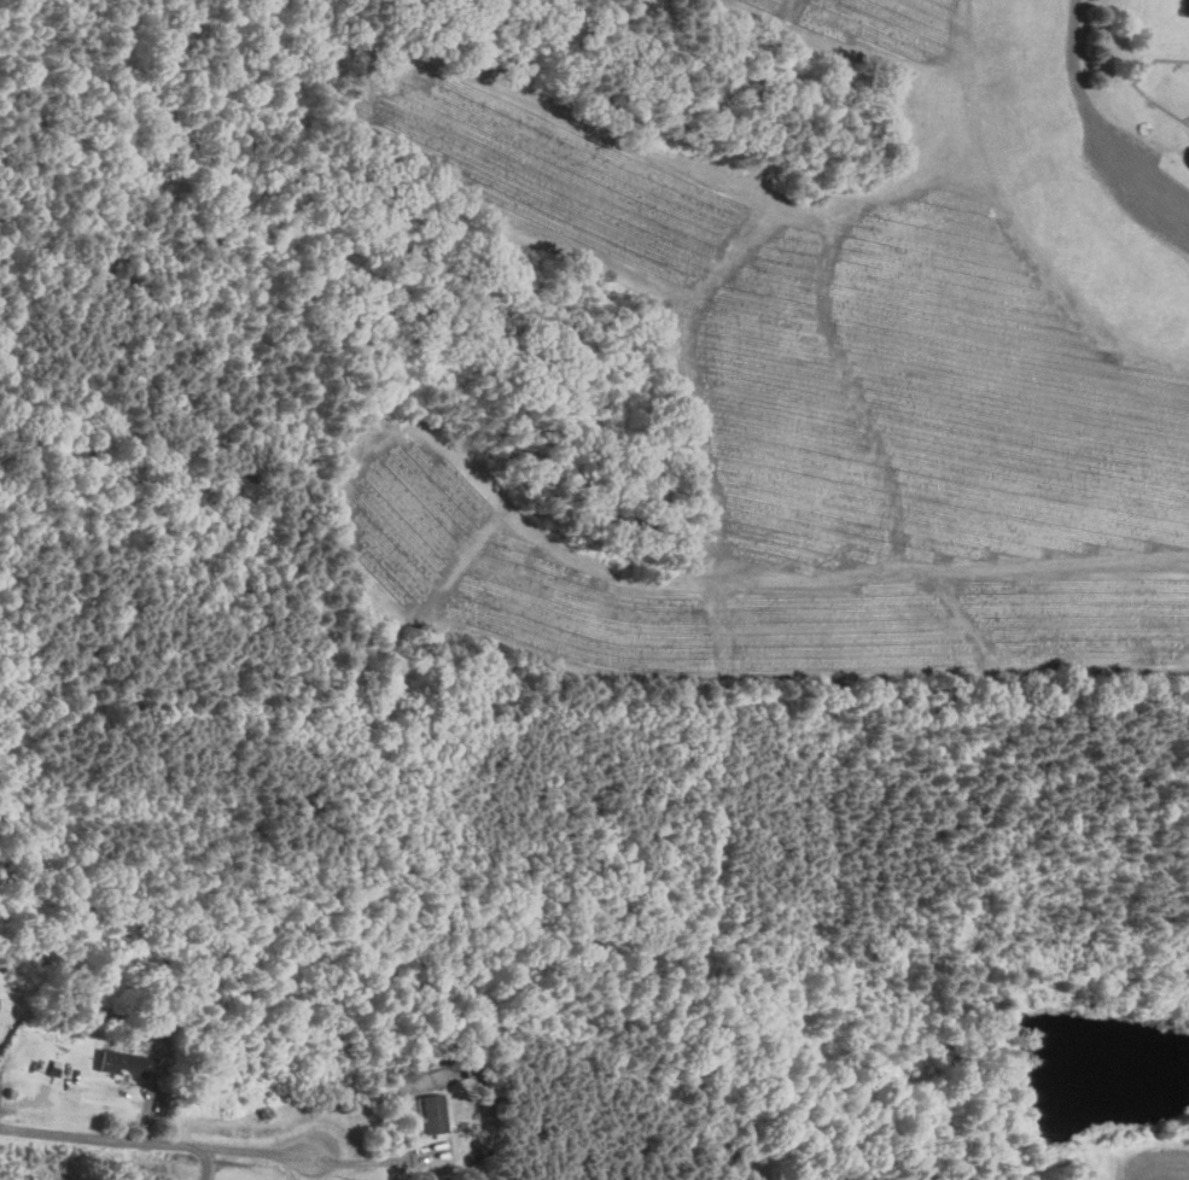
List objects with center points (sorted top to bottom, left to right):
road: (1079, 86)
building: (122, 1062)
building: (432, 1111)
road: (151, 1137)
road: (205, 1159)

